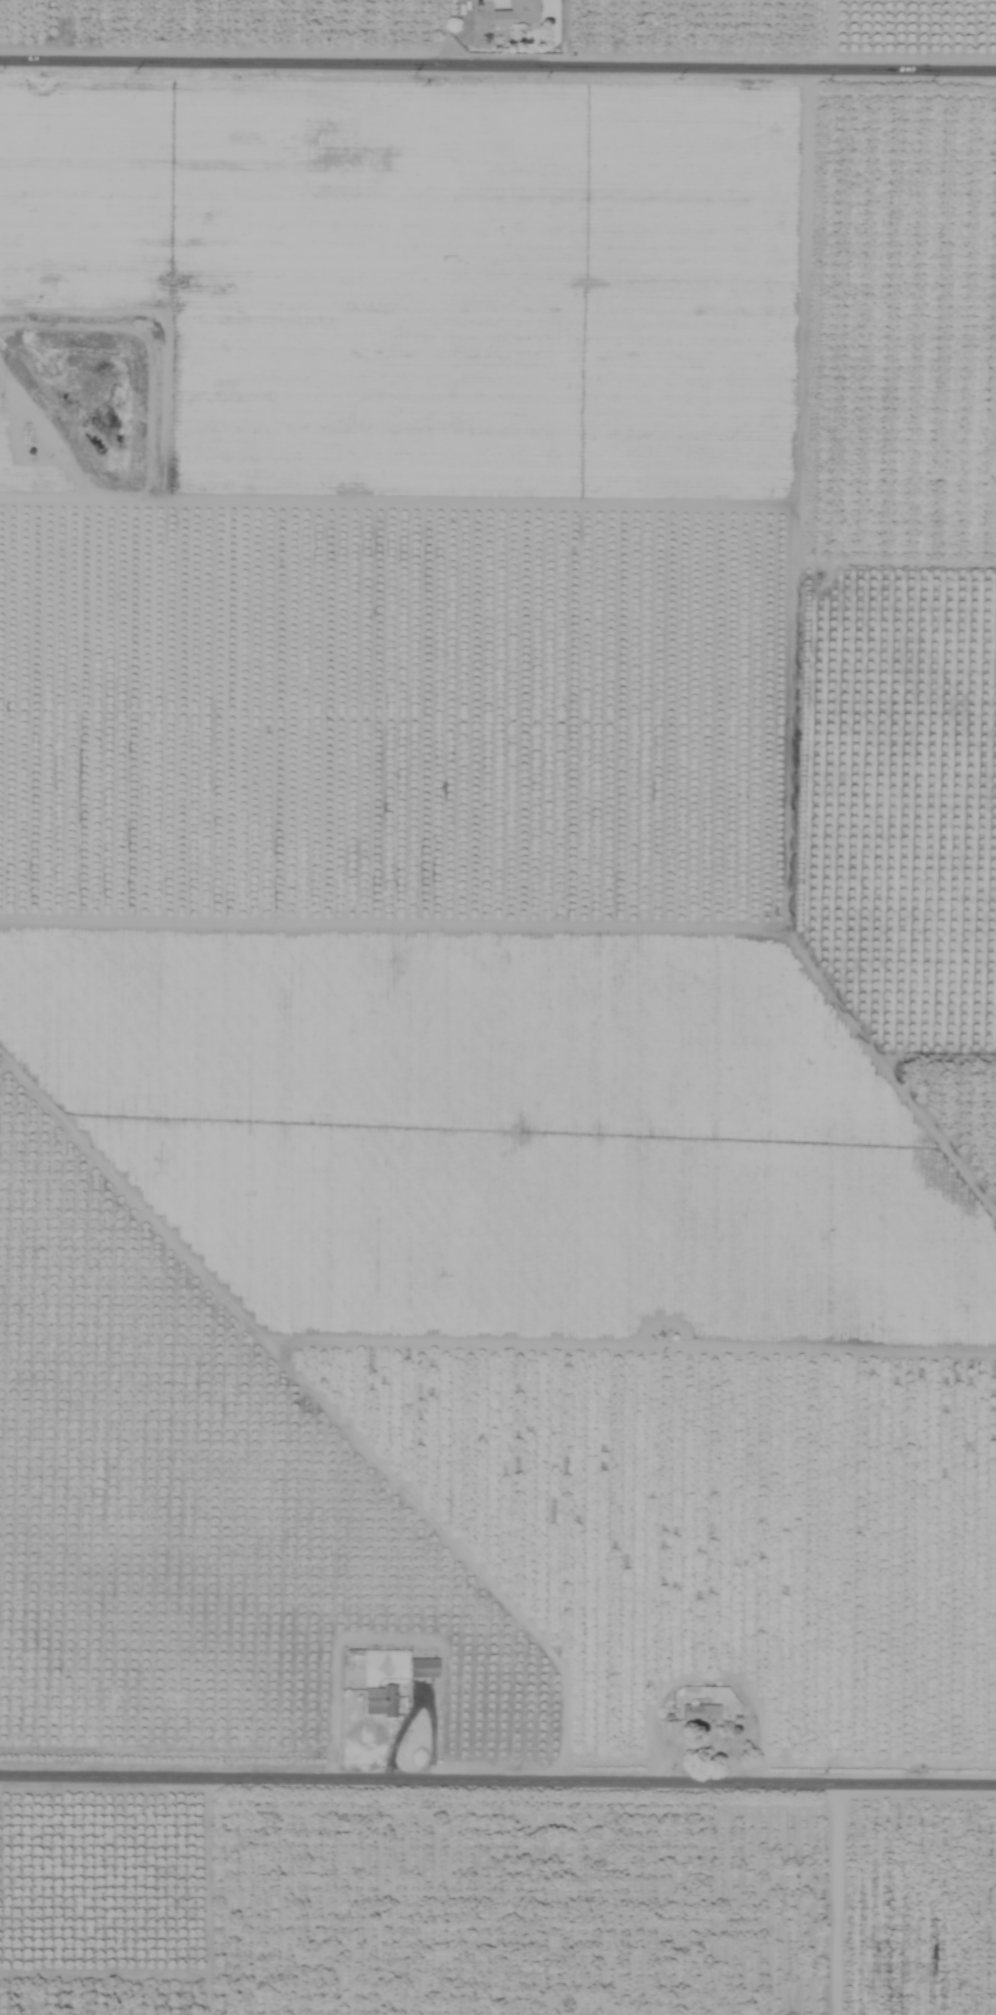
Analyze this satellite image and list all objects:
building: (515, 13)
road: (498, 62)
crop: (498, 1007)
building: (422, 1668)
building: (380, 1700)
building: (700, 1712)
road: (498, 1775)
road: (835, 1896)

